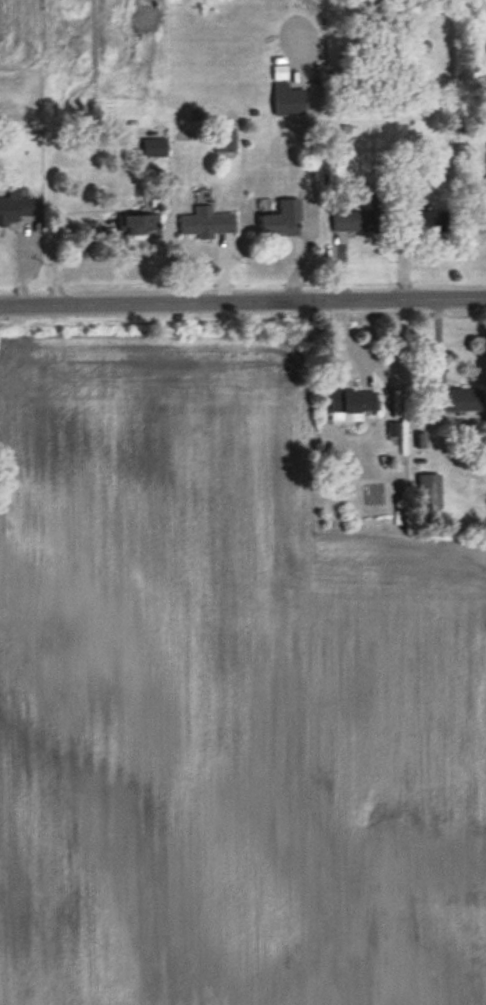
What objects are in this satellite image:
building: (287, 100)
road: (308, 120)
building: (224, 141)
building: (333, 147)
building: (153, 148)
building: (14, 211)
building: (281, 221)
building: (355, 222)
building: (426, 222)
building: (140, 224)
building: (206, 224)
road: (242, 298)
building: (454, 402)
building: (350, 406)
building: (428, 493)

